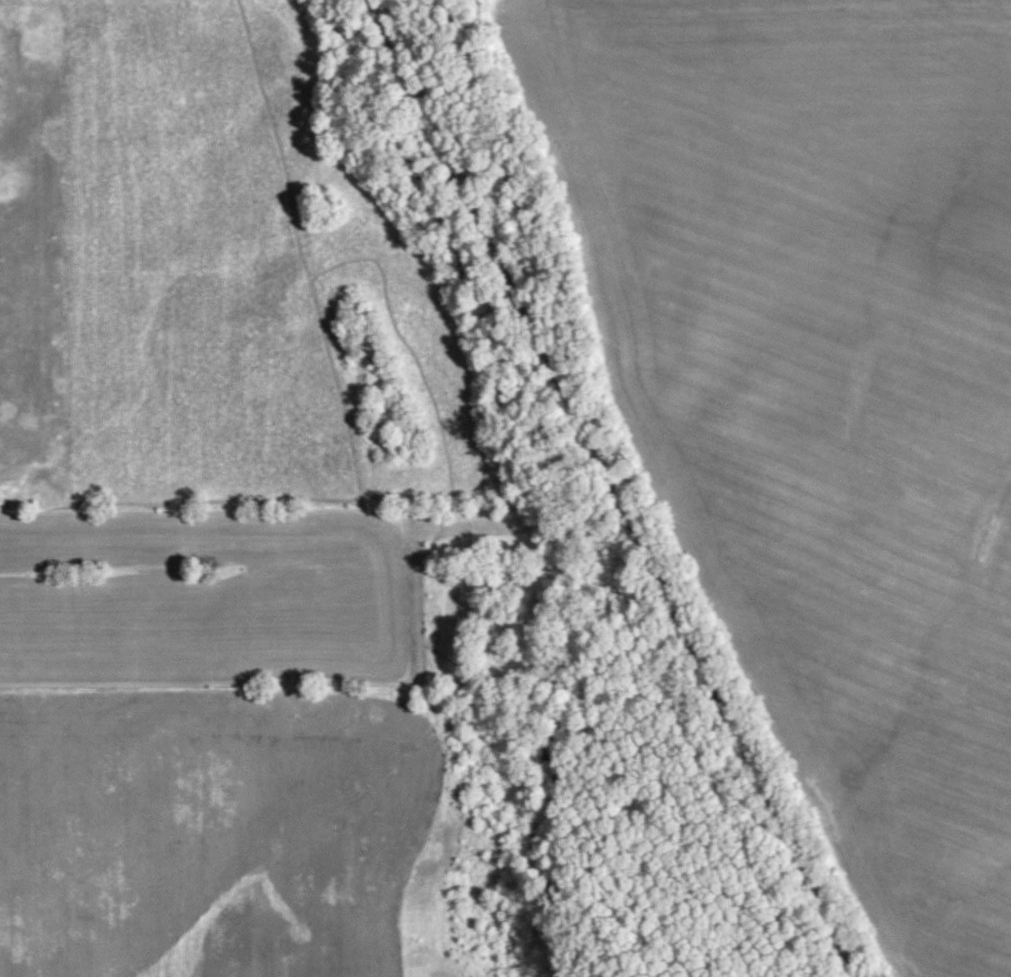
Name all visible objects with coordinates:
road: (611, 488)

